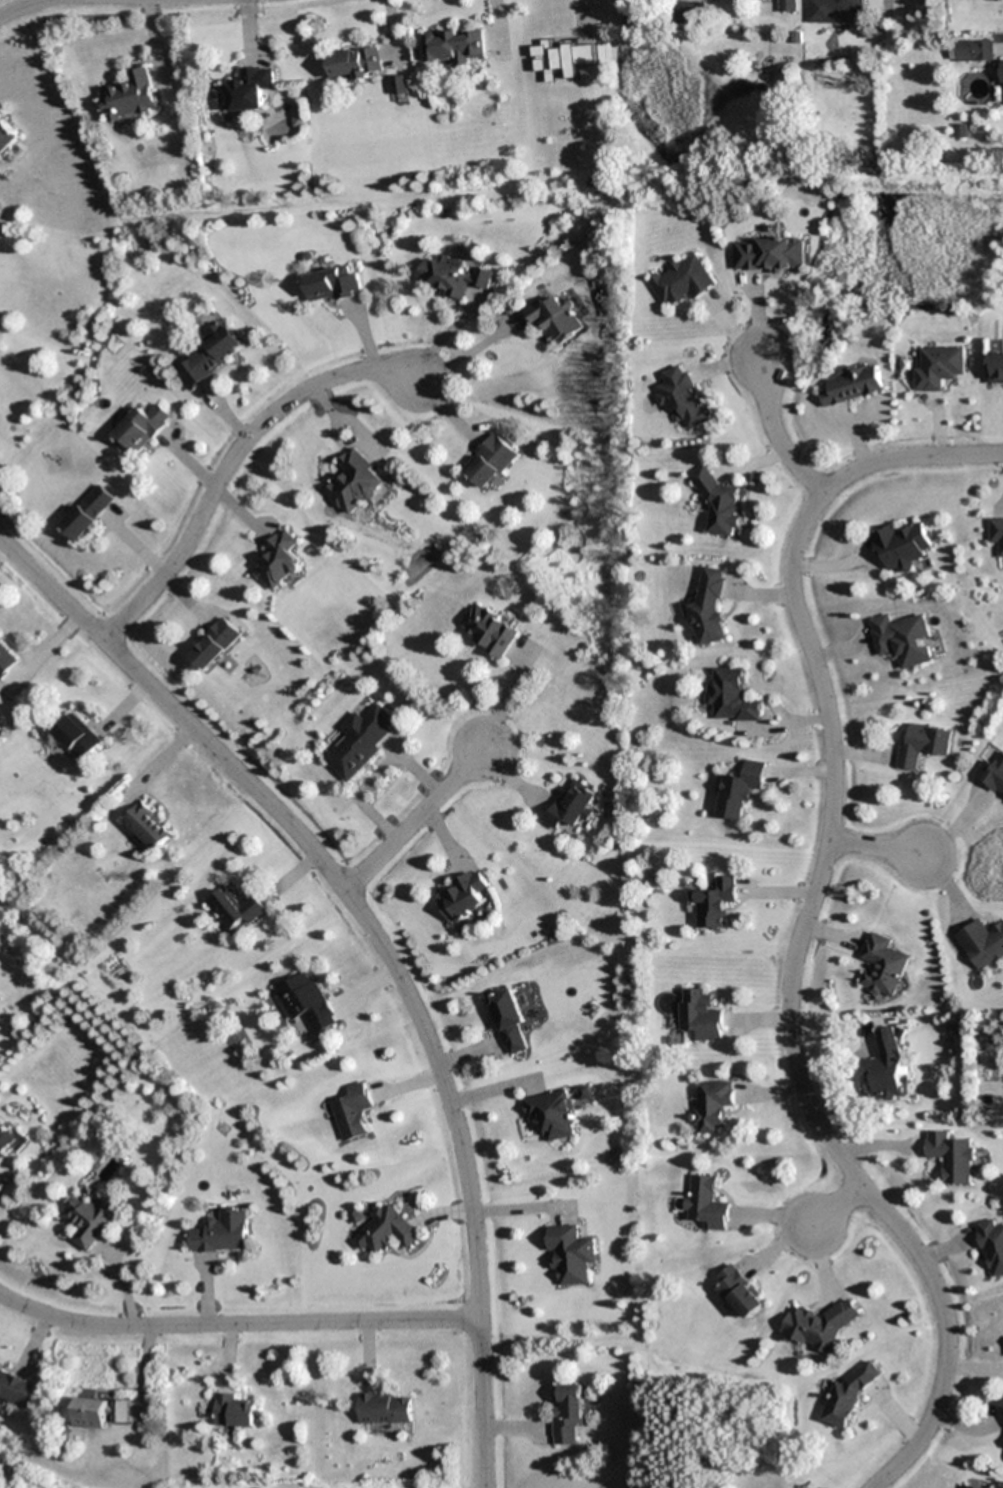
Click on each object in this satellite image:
building: (997, 0)
building: (786, 6)
road: (28, 8)
building: (831, 10)
building: (689, 11)
building: (455, 47)
building: (974, 51)
building: (562, 59)
building: (357, 63)
building: (1002, 80)
building: (248, 91)
building: (131, 97)
building: (6, 136)
building: (768, 255)
building: (453, 280)
building: (680, 281)
building: (329, 285)
building: (554, 322)
building: (209, 356)
building: (937, 367)
building: (995, 370)
building: (851, 384)
building: (681, 396)
building: (140, 428)
road: (775, 436)
building: (490, 461)
road: (228, 462)
building: (353, 484)
building: (718, 502)
building: (87, 513)
building: (997, 533)
building: (902, 546)
building: (278, 561)
building: (709, 609)
building: (489, 630)
building: (904, 639)
building: (213, 644)
building: (5, 661)
building: (732, 696)
building: (75, 738)
building: (360, 740)
building: (923, 745)
building: (992, 773)
building: (741, 790)
building: (573, 804)
road: (416, 819)
building: (146, 826)
road: (876, 849)
building: (463, 897)
building: (717, 903)
building: (233, 909)
road: (806, 923)
building: (982, 944)
road: (381, 947)
building: (882, 966)
building: (306, 1002)
building: (700, 1015)
building: (507, 1019)
building: (886, 1067)
building: (712, 1105)
building: (353, 1112)
building: (552, 1115)
building: (6, 1140)
building: (952, 1156)
building: (707, 1201)
road: (838, 1206)
building: (89, 1221)
building: (386, 1231)
building: (222, 1233)
building: (992, 1244)
building: (571, 1254)
building: (740, 1293)
road: (237, 1324)
building: (818, 1327)
building: (14, 1390)
building: (846, 1399)
building: (384, 1409)
building: (102, 1412)
building: (234, 1412)
building: (566, 1413)
building: (1001, 1415)
building: (966, 1487)

